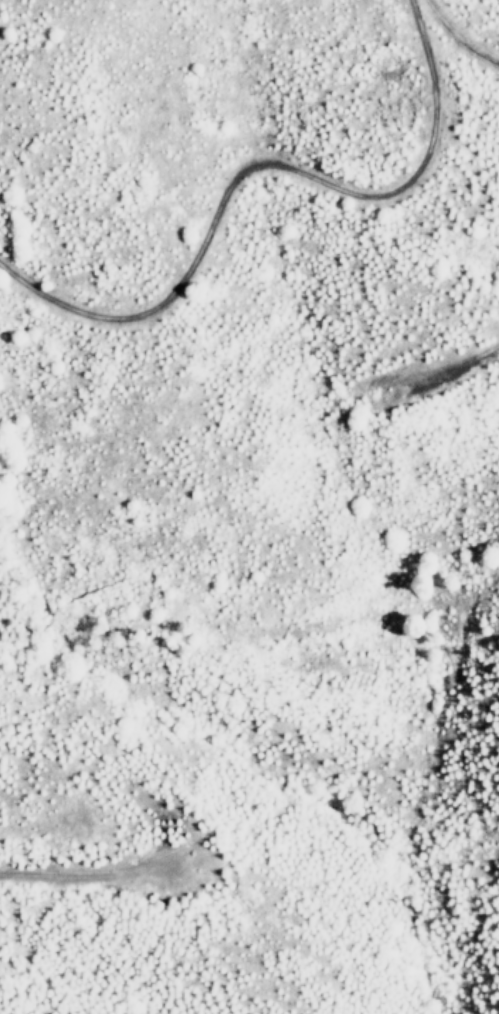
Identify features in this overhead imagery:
road: (474, 23)
road: (263, 224)

